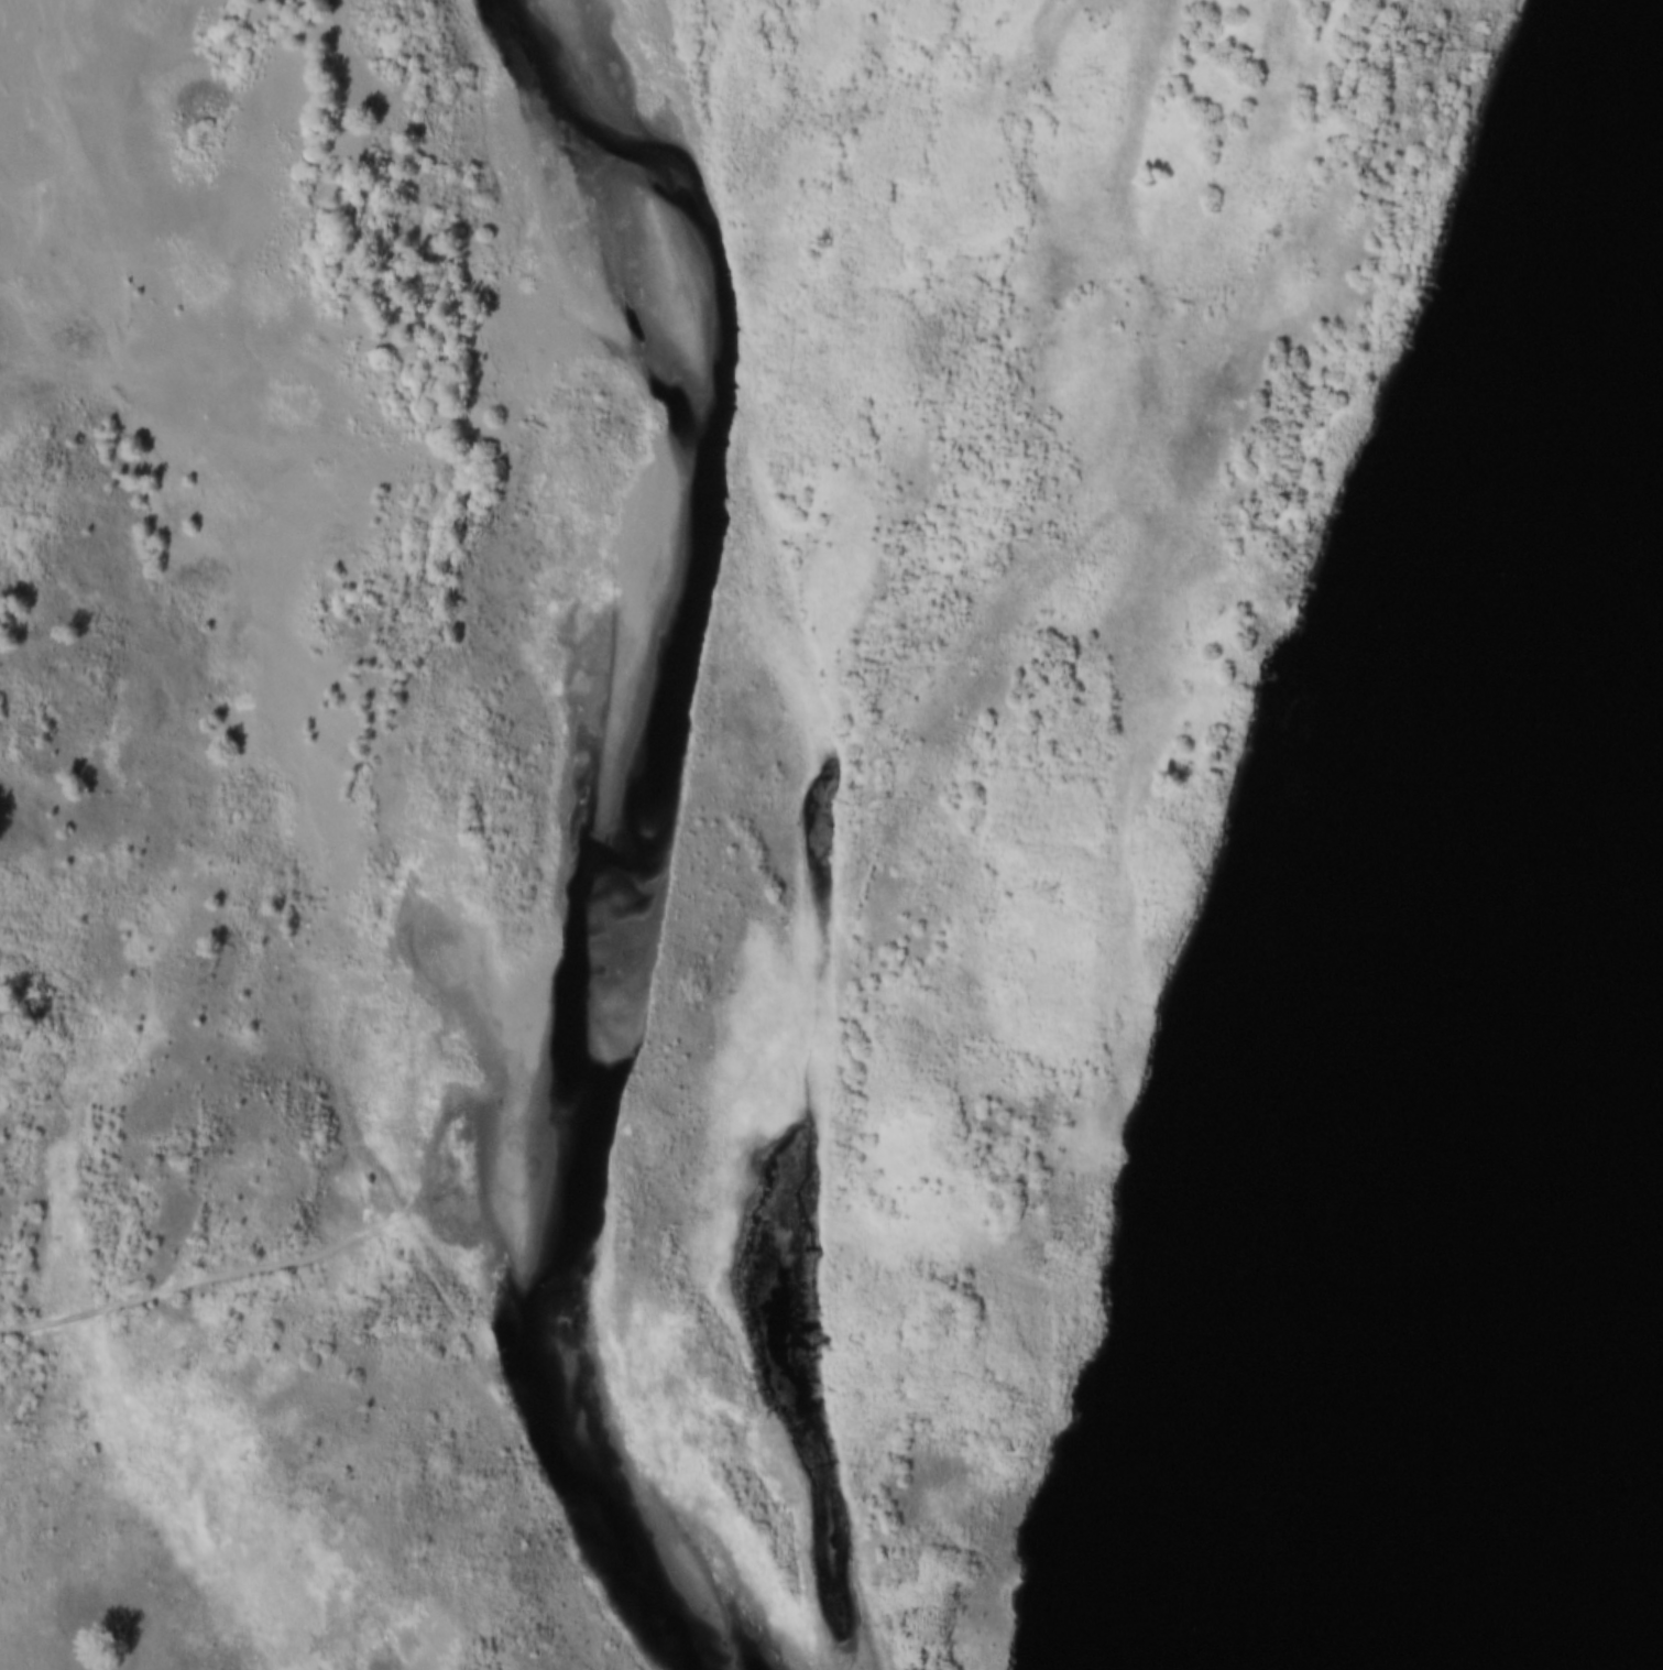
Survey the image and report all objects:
river: (1628, 1373)

